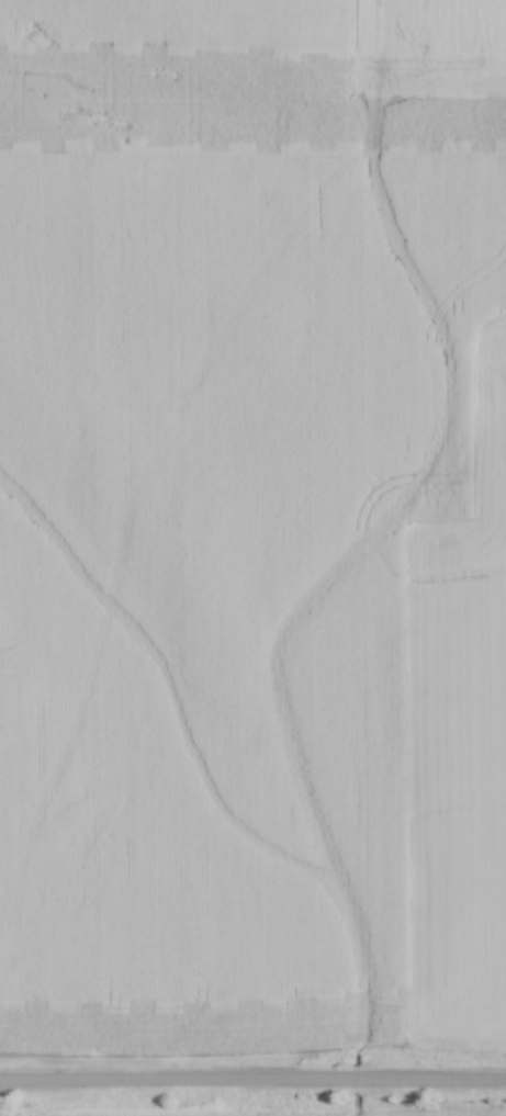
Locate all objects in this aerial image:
road: (252, 1089)

